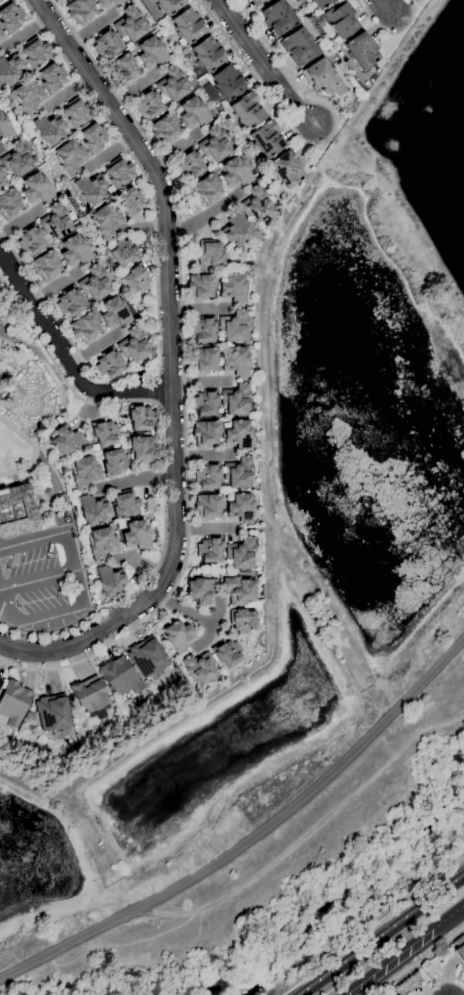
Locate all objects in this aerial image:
road: (0, 0)
building: (256, 1)
building: (109, 2)
building: (320, 3)
building: (169, 5)
road: (385, 5)
building: (80, 11)
building: (11, 17)
building: (278, 17)
building: (339, 20)
building: (129, 24)
building: (187, 25)
road: (90, 26)
road: (24, 30)
road: (389, 31)
building: (1, 35)
building: (106, 43)
building: (298, 46)
building: (361, 51)
building: (35, 52)
building: (151, 52)
building: (208, 54)
road: (264, 63)
building: (122, 69)
building: (9, 70)
building: (197, 72)
building: (52, 77)
building: (321, 78)
building: (227, 83)
building: (171, 84)
road: (133, 87)
road: (66, 91)
building: (28, 97)
building: (147, 104)
building: (247, 110)
building: (77, 112)
building: (192, 112)
building: (5, 128)
building: (48, 129)
building: (164, 129)
building: (93, 137)
building: (266, 139)
road: (316, 142)
building: (213, 144)
road: (173, 148)
road: (108, 151)
building: (69, 157)
building: (16, 159)
building: (189, 164)
building: (286, 169)
building: (118, 172)
building: (234, 172)
road: (143, 174)
building: (1, 180)
building: (35, 188)
building: (90, 189)
building: (206, 189)
building: (288, 193)
building: (130, 202)
building: (9, 203)
building: (255, 204)
road: (201, 216)
road: (19, 219)
building: (55, 221)
building: (106, 221)
road: (147, 226)
building: (235, 229)
building: (30, 240)
building: (75, 250)
building: (123, 253)
building: (208, 254)
building: (46, 265)
building: (136, 279)
road: (52, 283)
building: (94, 283)
building: (199, 287)
building: (232, 288)
building: (69, 302)
road: (47, 305)
road: (197, 308)
building: (114, 312)
building: (232, 326)
building: (85, 327)
building: (201, 329)
building: (133, 345)
road: (93, 346)
road: (33, 348)
road: (64, 357)
building: (202, 360)
building: (235, 361)
building: (108, 363)
road: (170, 366)
road: (182, 378)
road: (199, 381)
road: (51, 387)
road: (22, 390)
road: (159, 391)
road: (39, 398)
building: (235, 399)
road: (90, 401)
building: (204, 402)
road: (15, 416)
building: (139, 417)
building: (104, 433)
building: (204, 433)
building: (238, 434)
road: (28, 439)
building: (65, 440)
building: (142, 449)
road: (202, 455)
building: (113, 463)
road: (162, 463)
road: (49, 471)
building: (84, 472)
building: (237, 472)
building: (207, 476)
road: (34, 477)
road: (12, 478)
road: (134, 478)
park: (35, 482)
building: (124, 504)
building: (206, 506)
building: (239, 508)
building: (92, 510)
building: (16, 511)
road: (205, 528)
building: (135, 535)
road: (31, 539)
road: (64, 539)
building: (101, 543)
building: (209, 549)
building: (241, 553)
road: (138, 562)
parking lot: (34, 578)
road: (36, 580)
building: (109, 581)
building: (200, 590)
building: (238, 590)
road: (48, 613)
road: (195, 615)
building: (242, 620)
building: (177, 636)
road: (205, 636)
building: (226, 653)
building: (146, 658)
building: (199, 667)
building: (119, 677)
building: (90, 697)
building: (13, 704)
building: (51, 713)
road: (252, 836)
road: (382, 935)
road: (441, 944)
building: (459, 947)
road: (406, 950)
road: (426, 972)
road: (396, 978)
road: (449, 979)
road: (430, 989)
building: (388, 993)
building: (397, 994)

